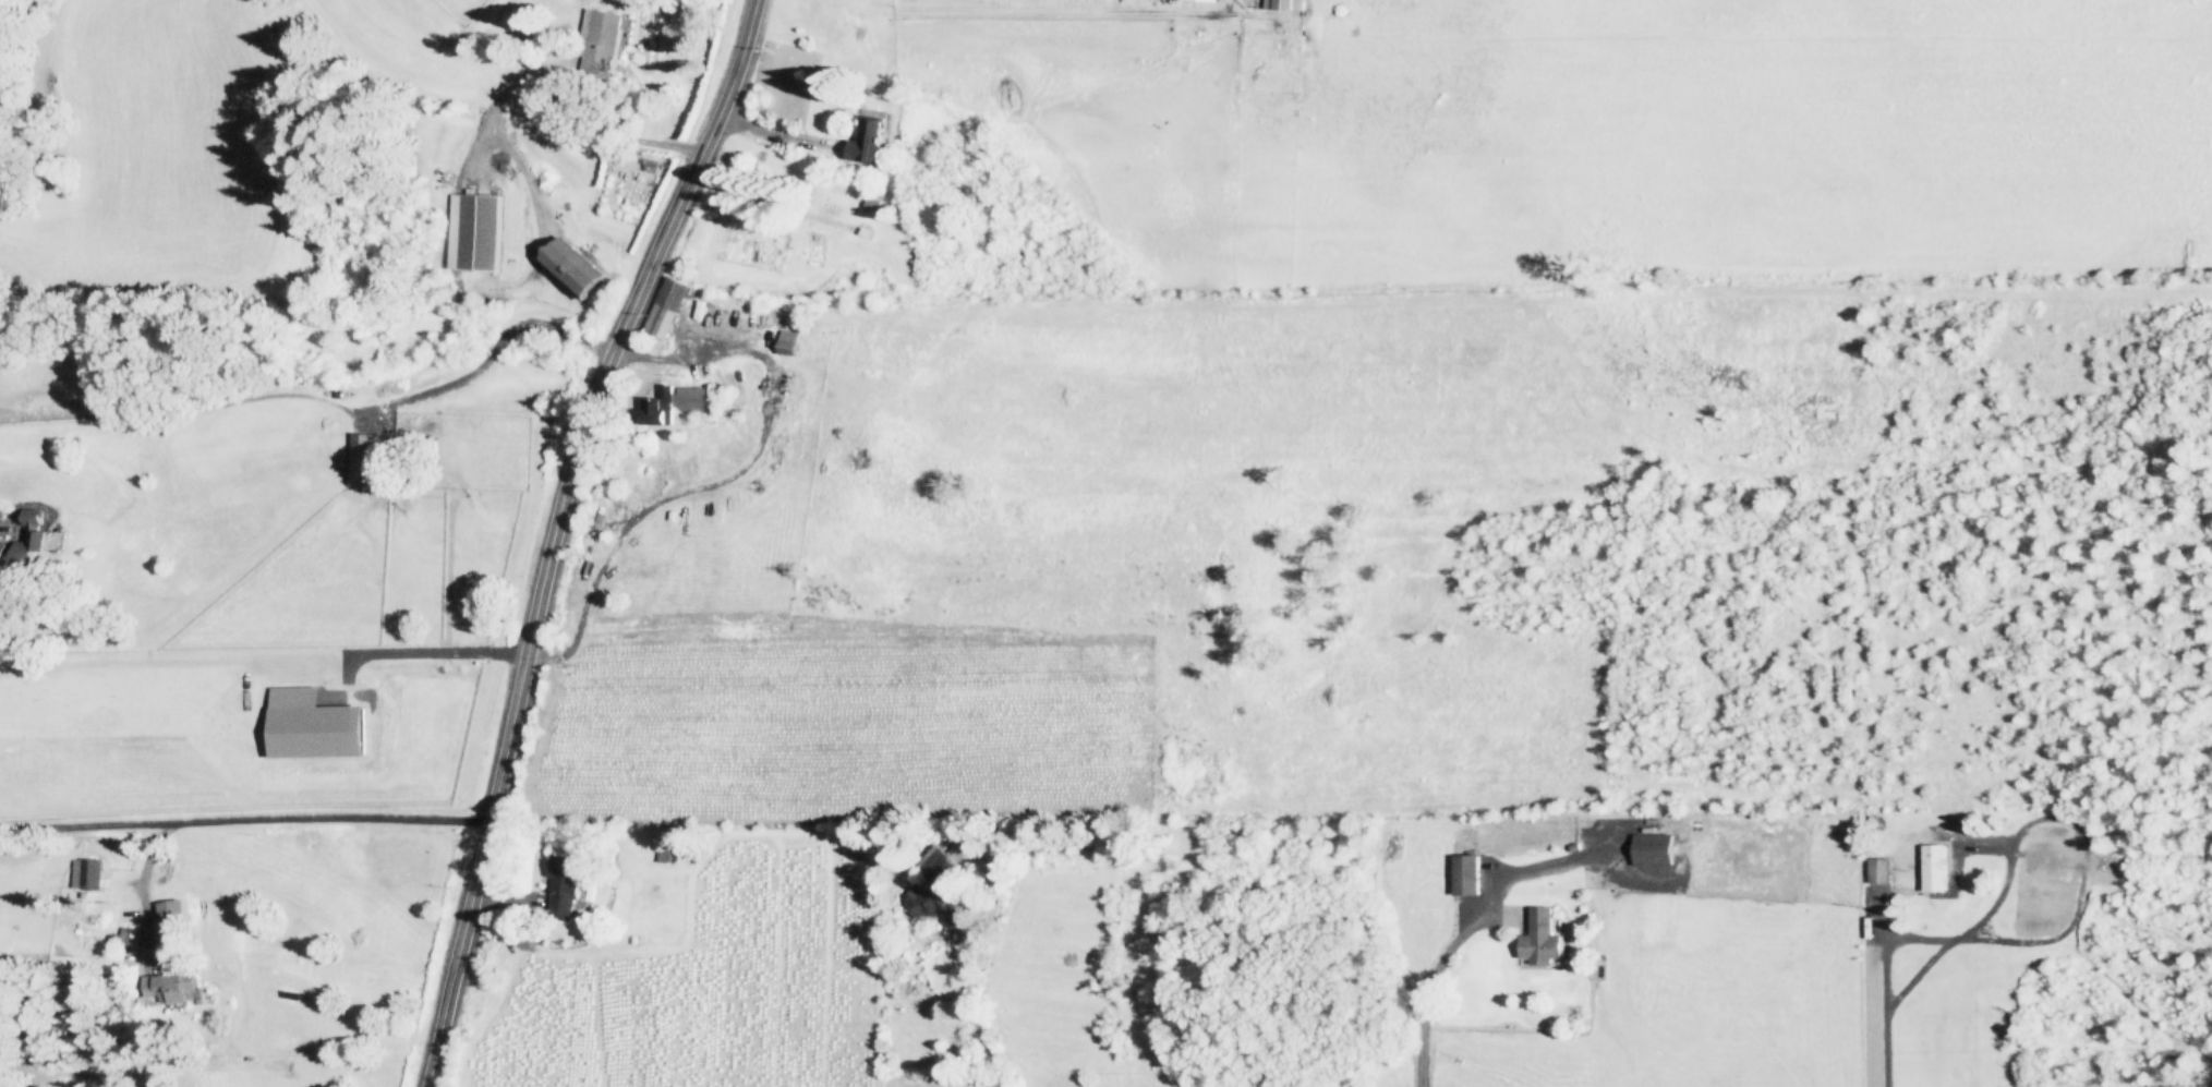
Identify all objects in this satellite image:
building: (1201, 0)
building: (1282, 3)
road: (1051, 15)
building: (596, 40)
road: (777, 131)
building: (867, 140)
building: (474, 231)
building: (568, 267)
building: (664, 307)
building: (786, 342)
building: (677, 399)
building: (359, 458)
road: (724, 475)
road: (554, 531)
building: (29, 540)
road: (440, 653)
crop: (836, 717)
building: (313, 732)
road: (251, 821)
road: (73, 824)
building: (1651, 849)
building: (662, 855)
building: (1930, 868)
building: (1877, 870)
building: (84, 872)
building: (1462, 874)
road: (2082, 877)
building: (933, 882)
building: (560, 885)
road: (500, 901)
building: (171, 925)
road: (1464, 927)
building: (1540, 935)
building: (120, 939)
road: (965, 971)
road: (1919, 975)
building: (164, 989)
road: (1886, 992)

